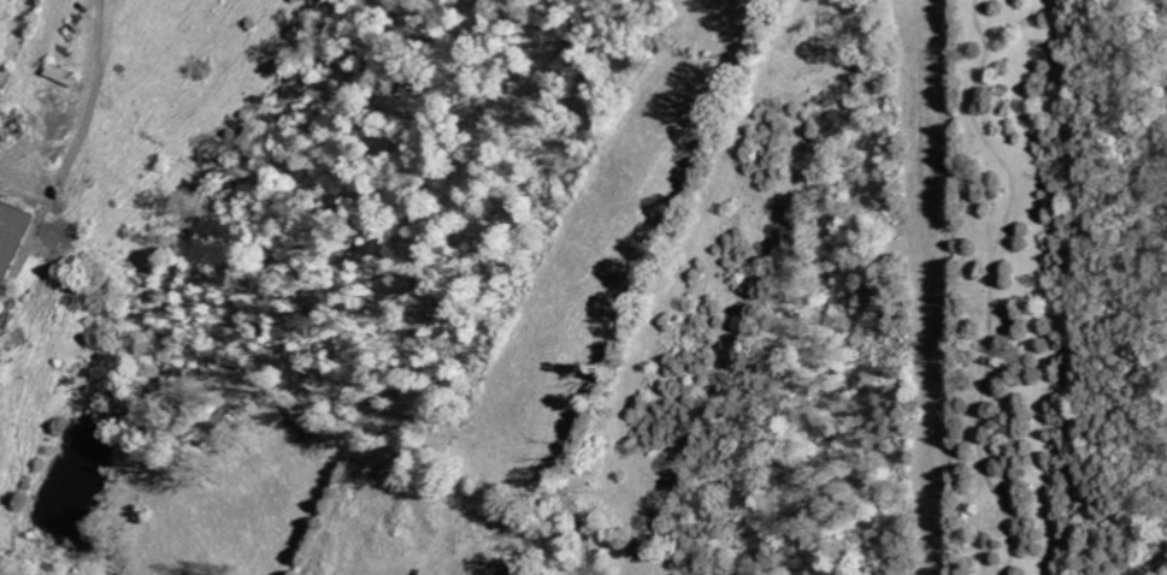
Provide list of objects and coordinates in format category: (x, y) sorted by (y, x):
building: (11, 236)

